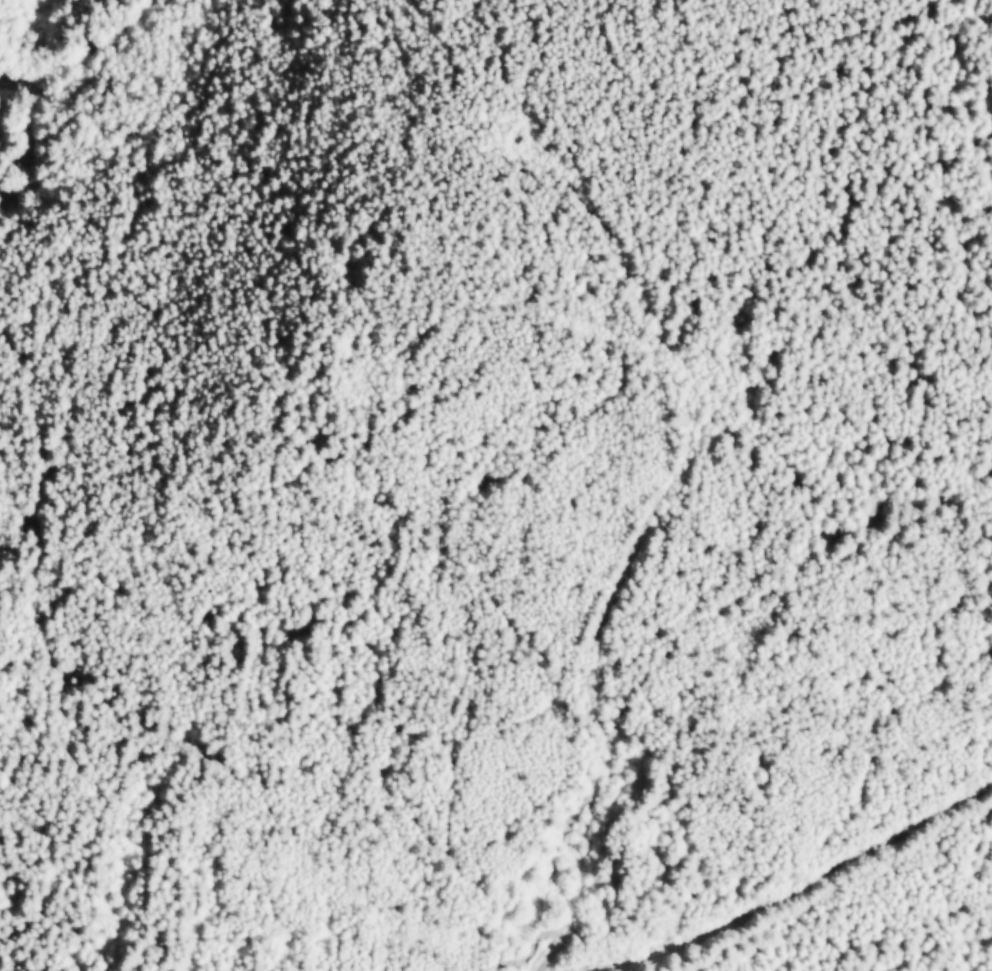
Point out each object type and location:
road: (80, 52)
road: (595, 709)

